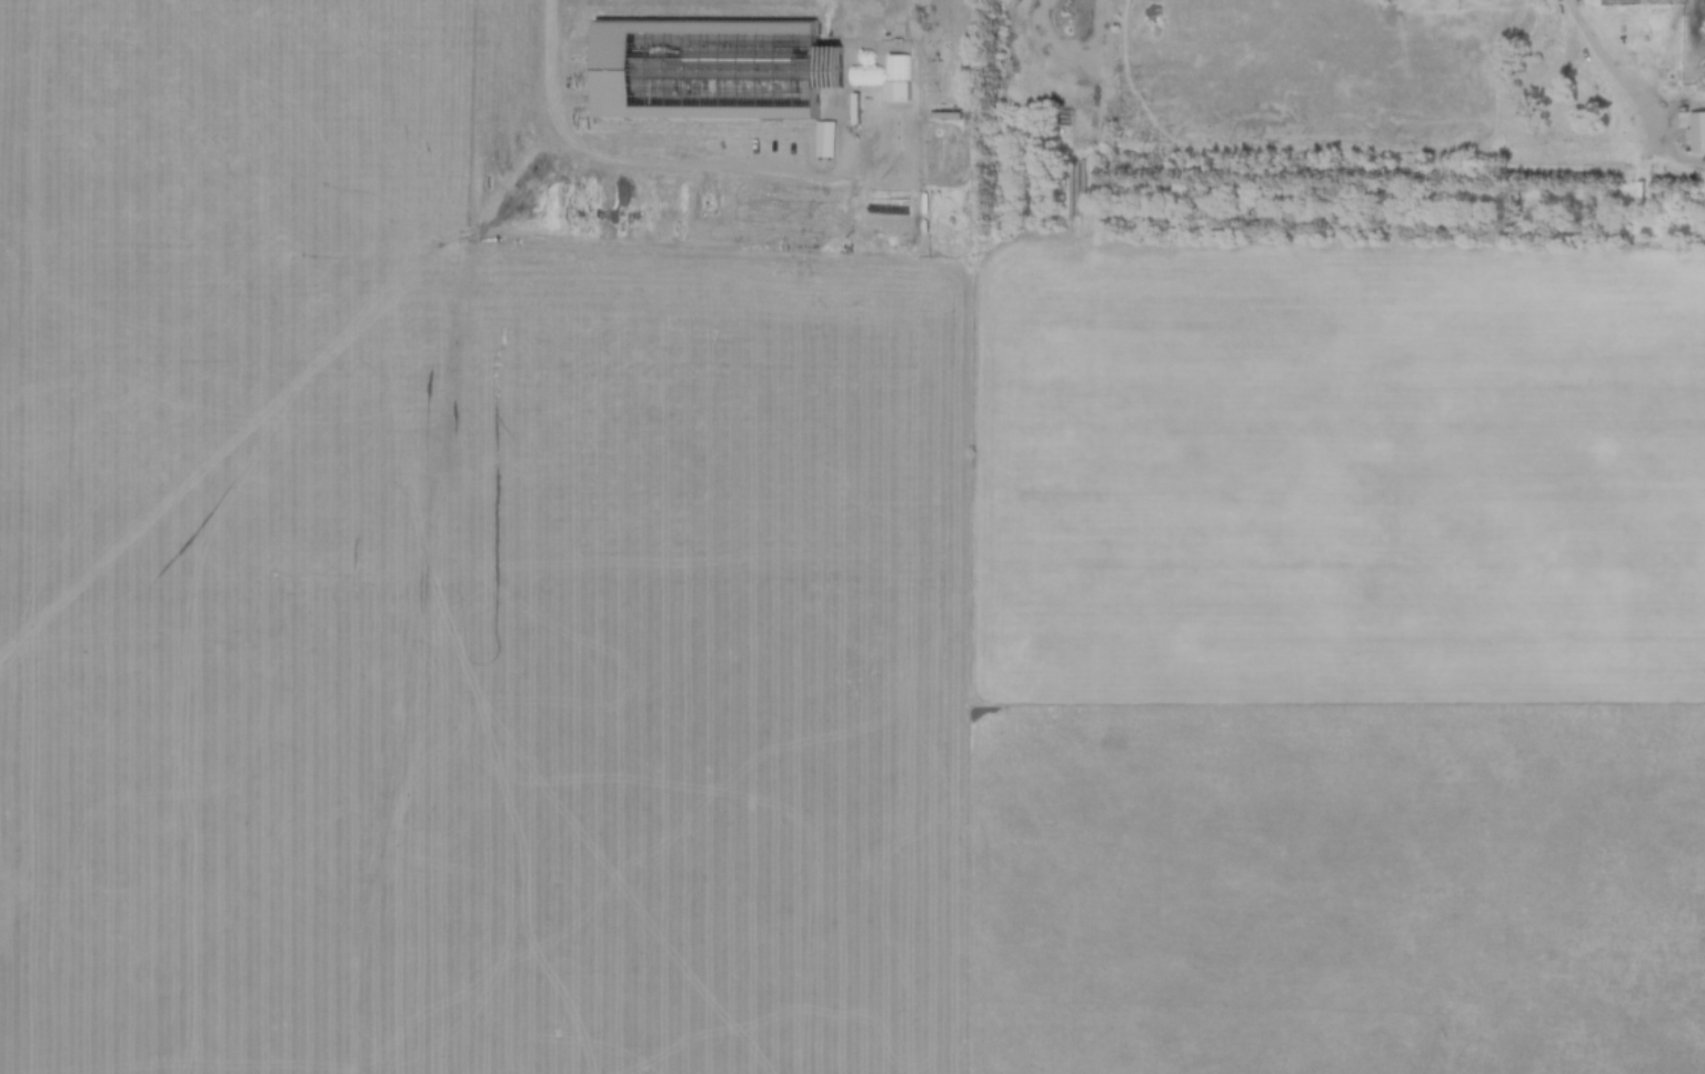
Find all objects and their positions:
building: (1619, 9)
road: (1097, 60)
building: (708, 69)
road: (1625, 74)
road: (671, 167)

